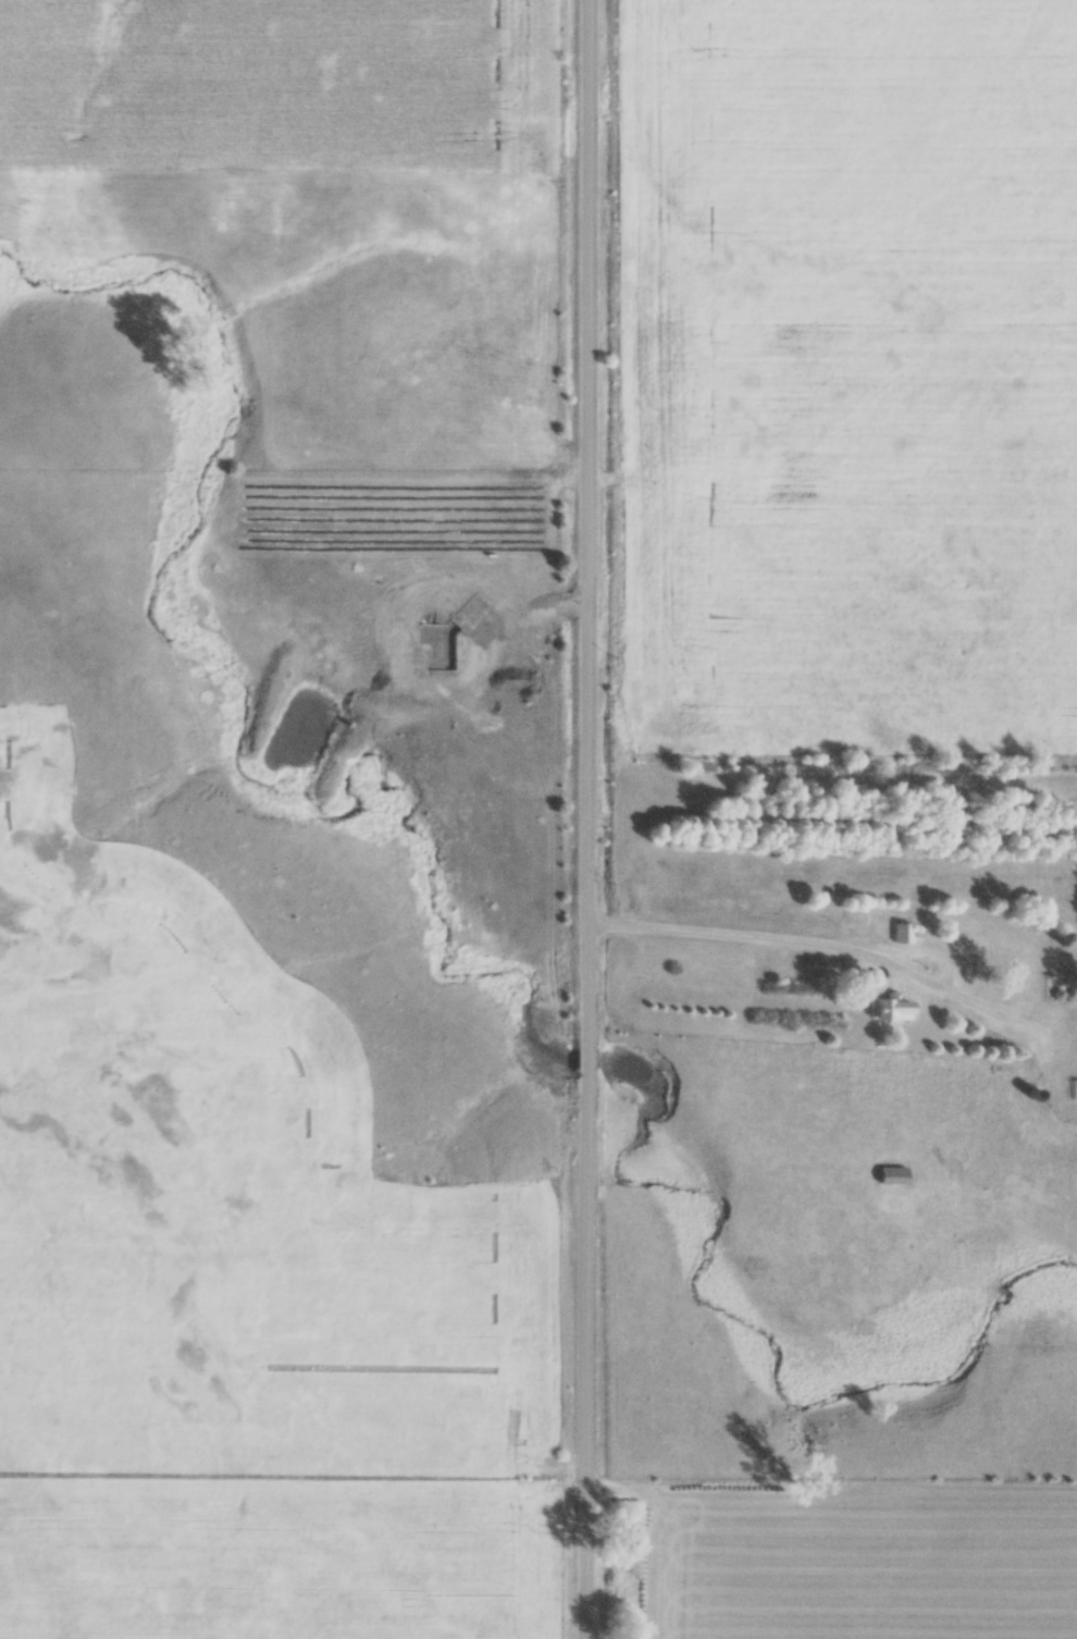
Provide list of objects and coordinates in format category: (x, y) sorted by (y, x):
road: (571, 819)
building: (902, 933)
road: (818, 941)
building: (890, 1010)
building: (1074, 1090)
building: (890, 1176)

